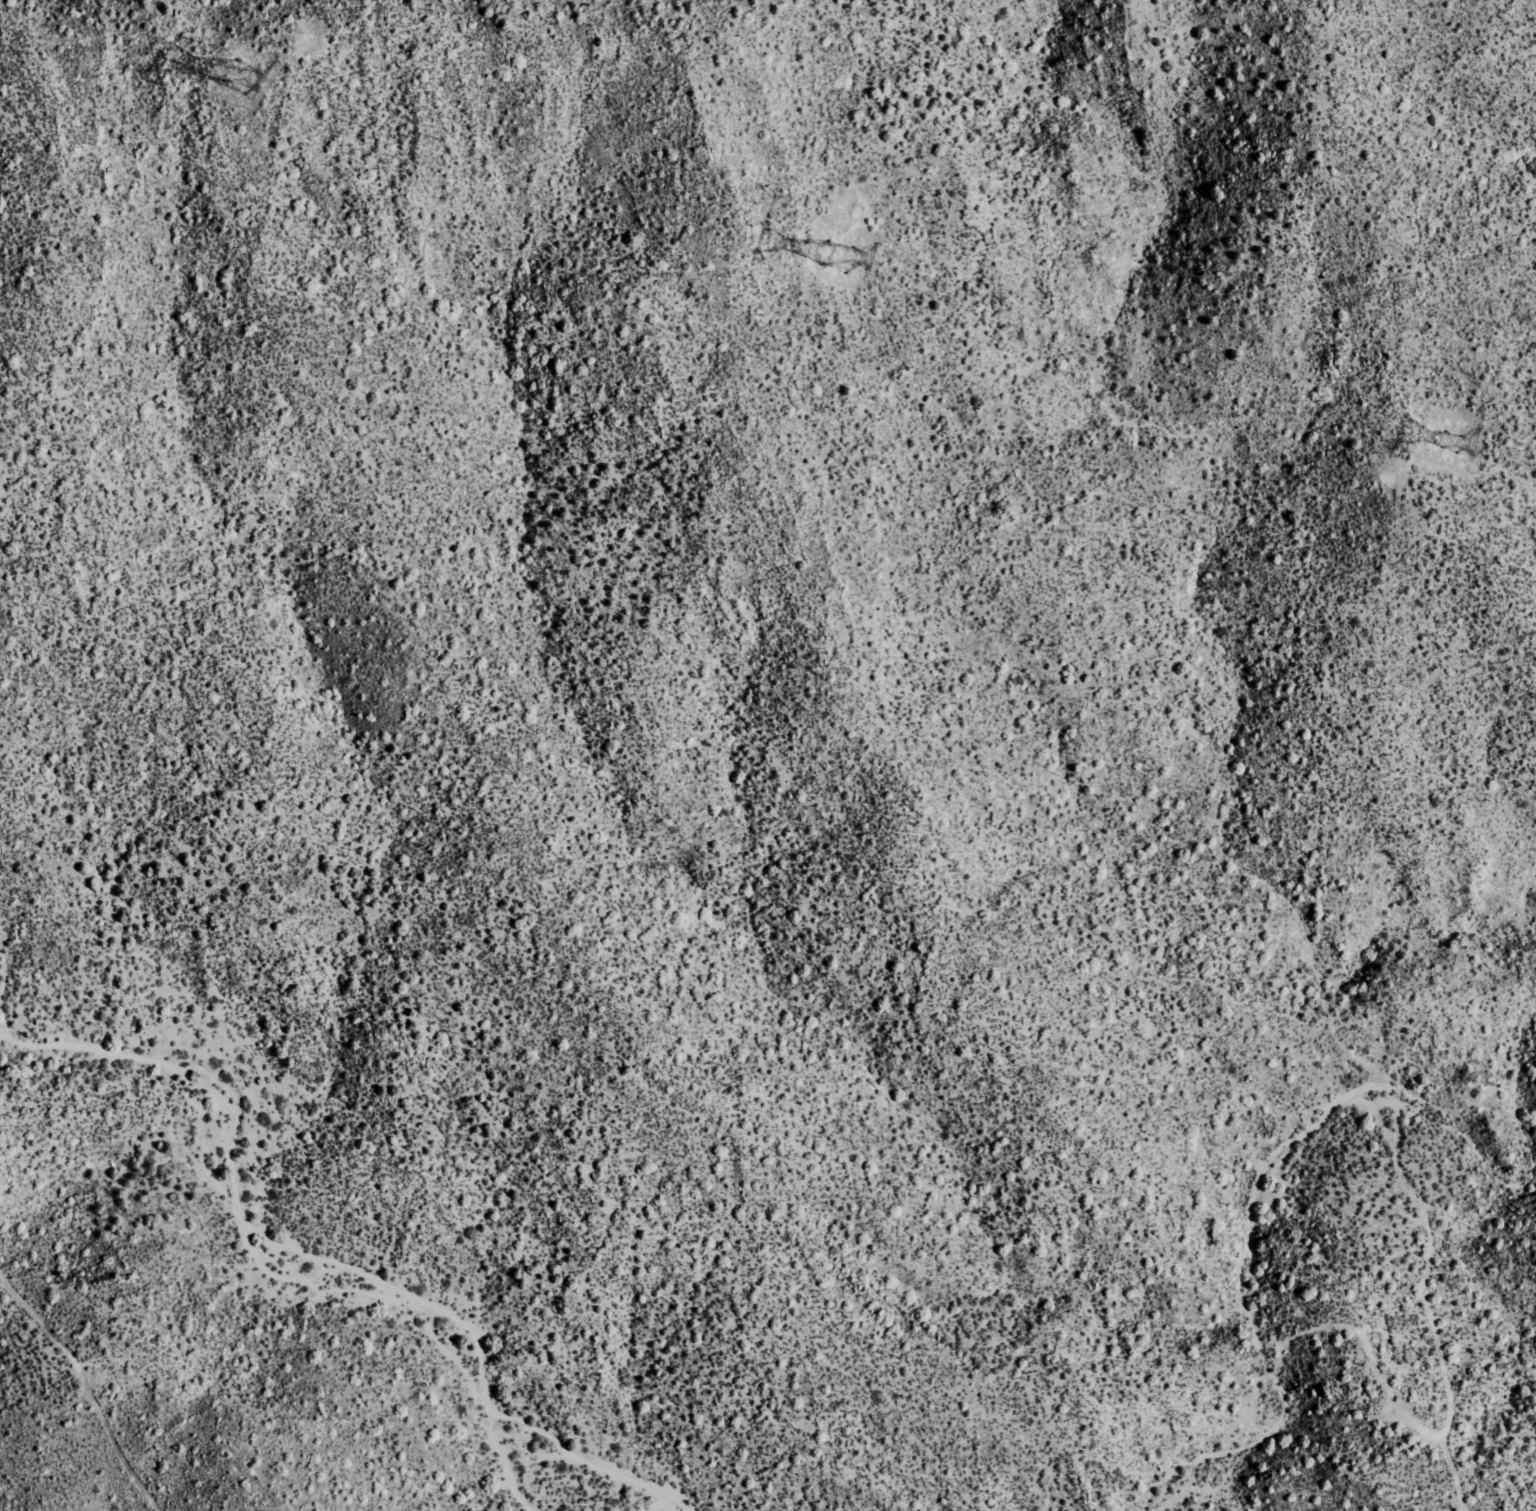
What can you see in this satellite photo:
power tower: (234, 80)
power tower: (828, 253)
power tower: (1443, 452)

